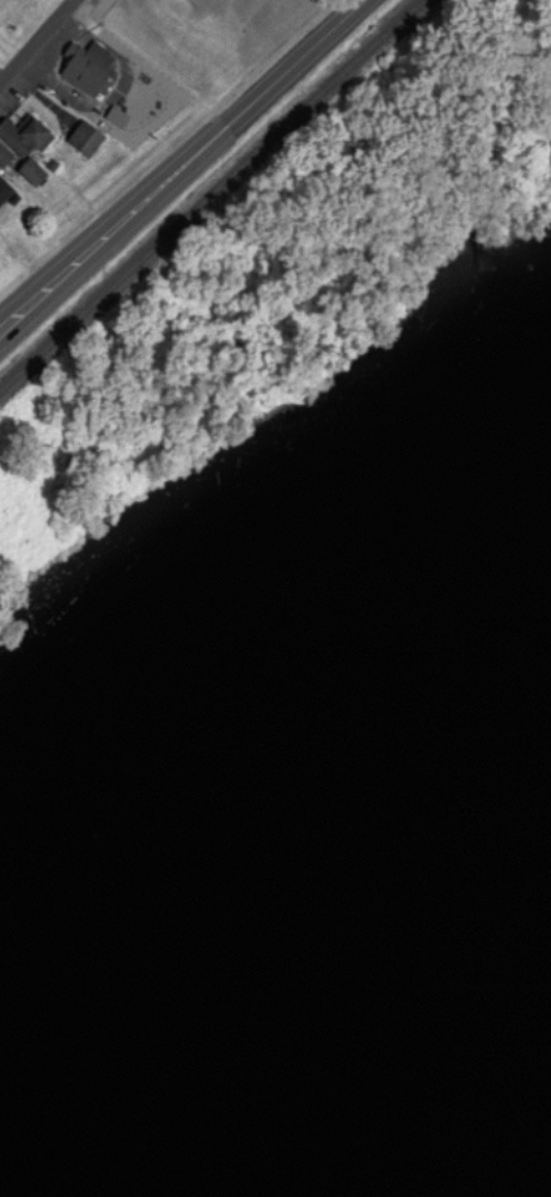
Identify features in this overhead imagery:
road: (39, 44)
building: (88, 69)
building: (25, 139)
building: (85, 141)
building: (4, 158)
road: (190, 165)
building: (31, 174)
building: (5, 193)
railway: (220, 201)
river: (253, 931)

